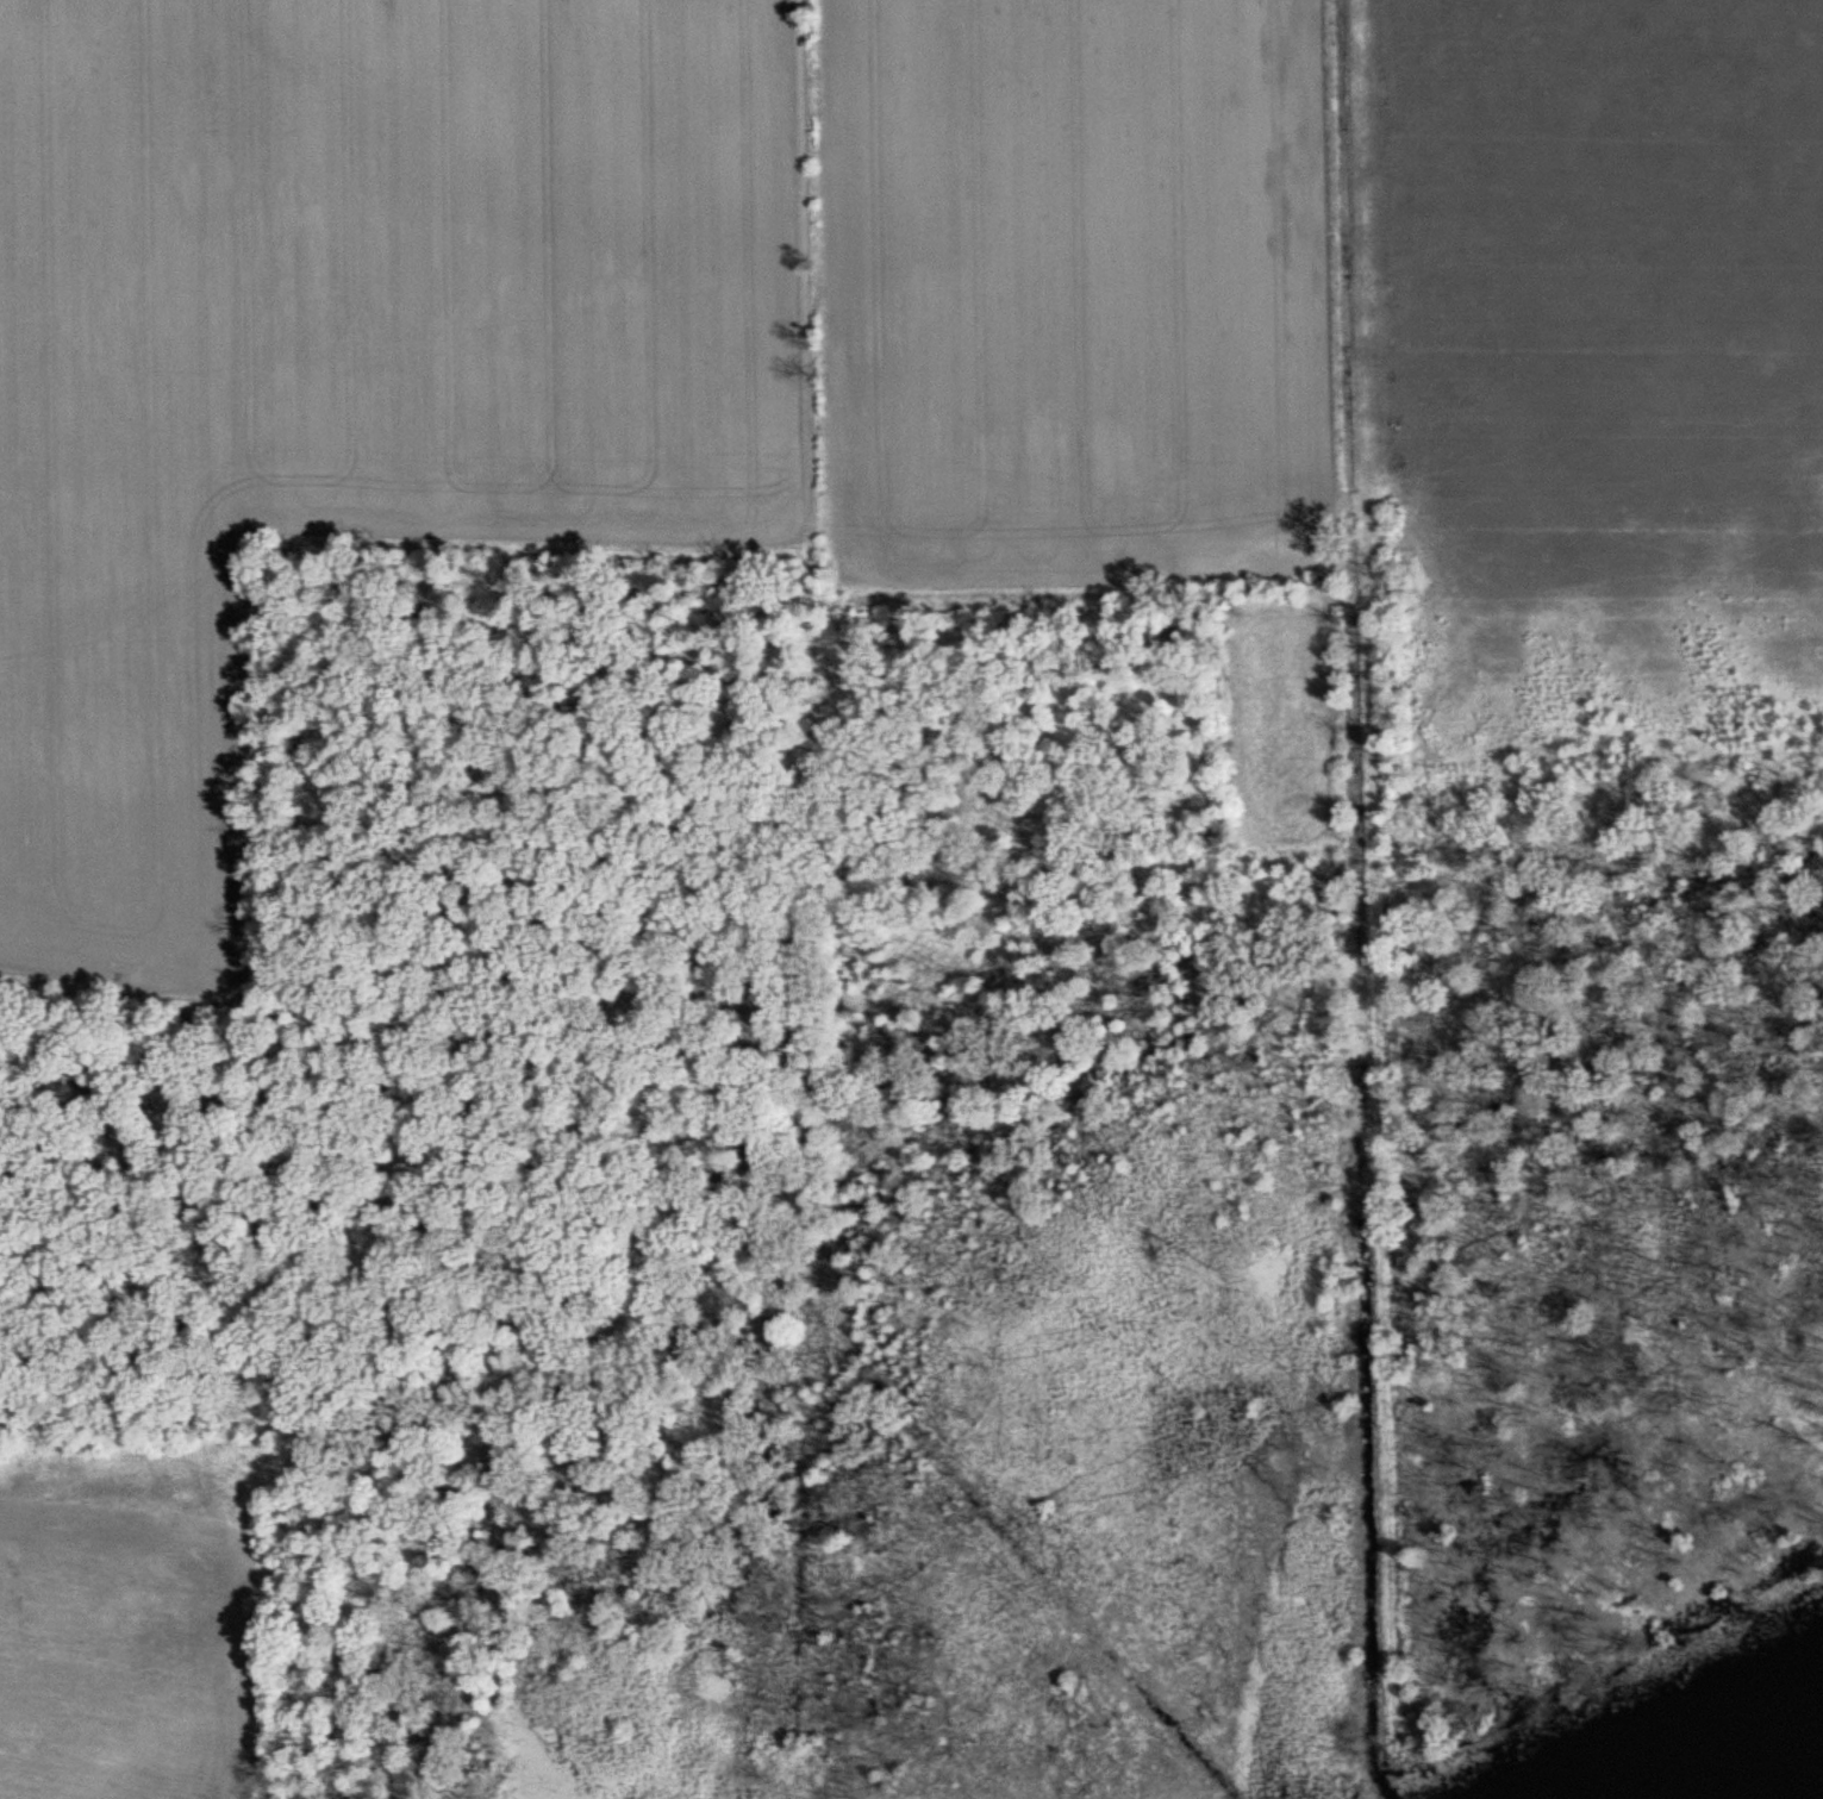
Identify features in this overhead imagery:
road: (1363, 881)

